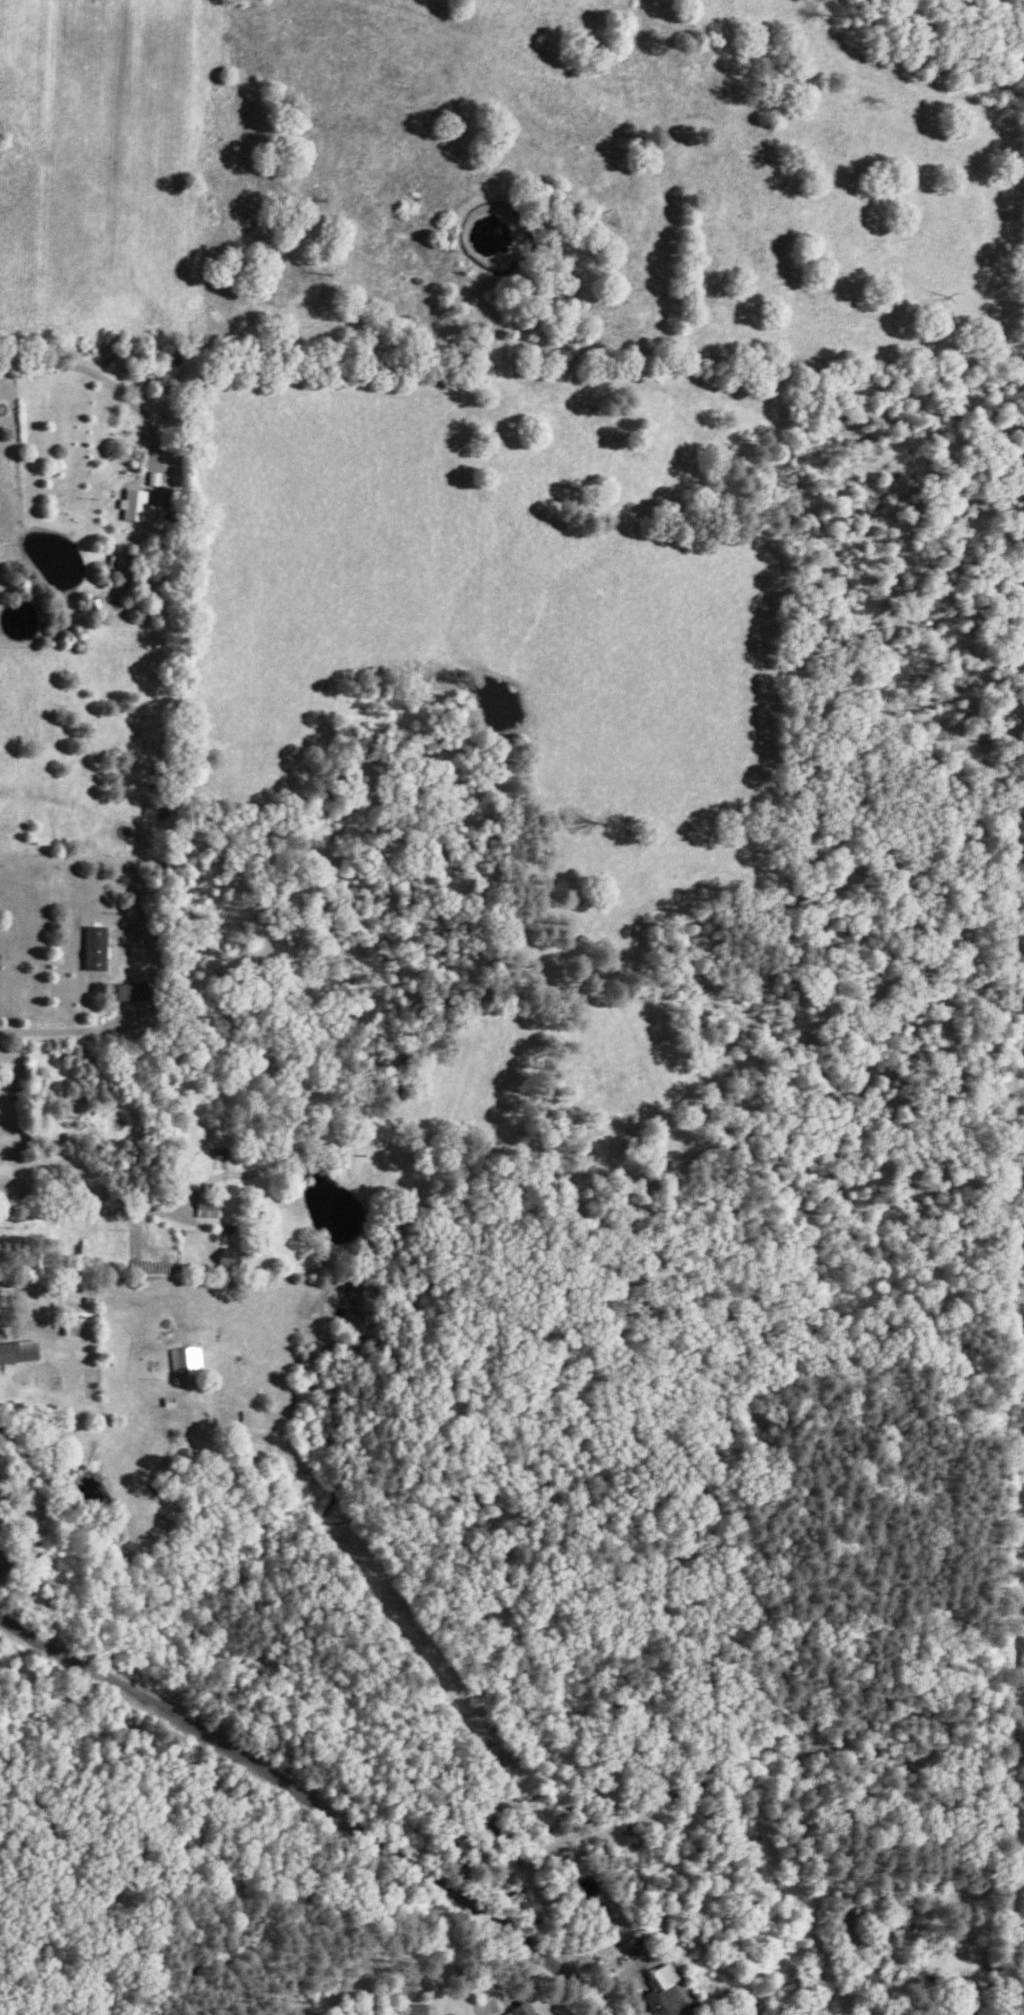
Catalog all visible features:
road: (92, 366)
building: (141, 506)
building: (46, 839)
building: (100, 963)
building: (131, 991)
road: (65, 1031)
building: (188, 1176)
building: (212, 1207)
building: (235, 1257)
road: (95, 1274)
building: (16, 1358)
building: (191, 1360)
road: (316, 1803)
building: (672, 1991)
road: (684, 2007)
building: (421, 2009)
building: (525, 2010)

